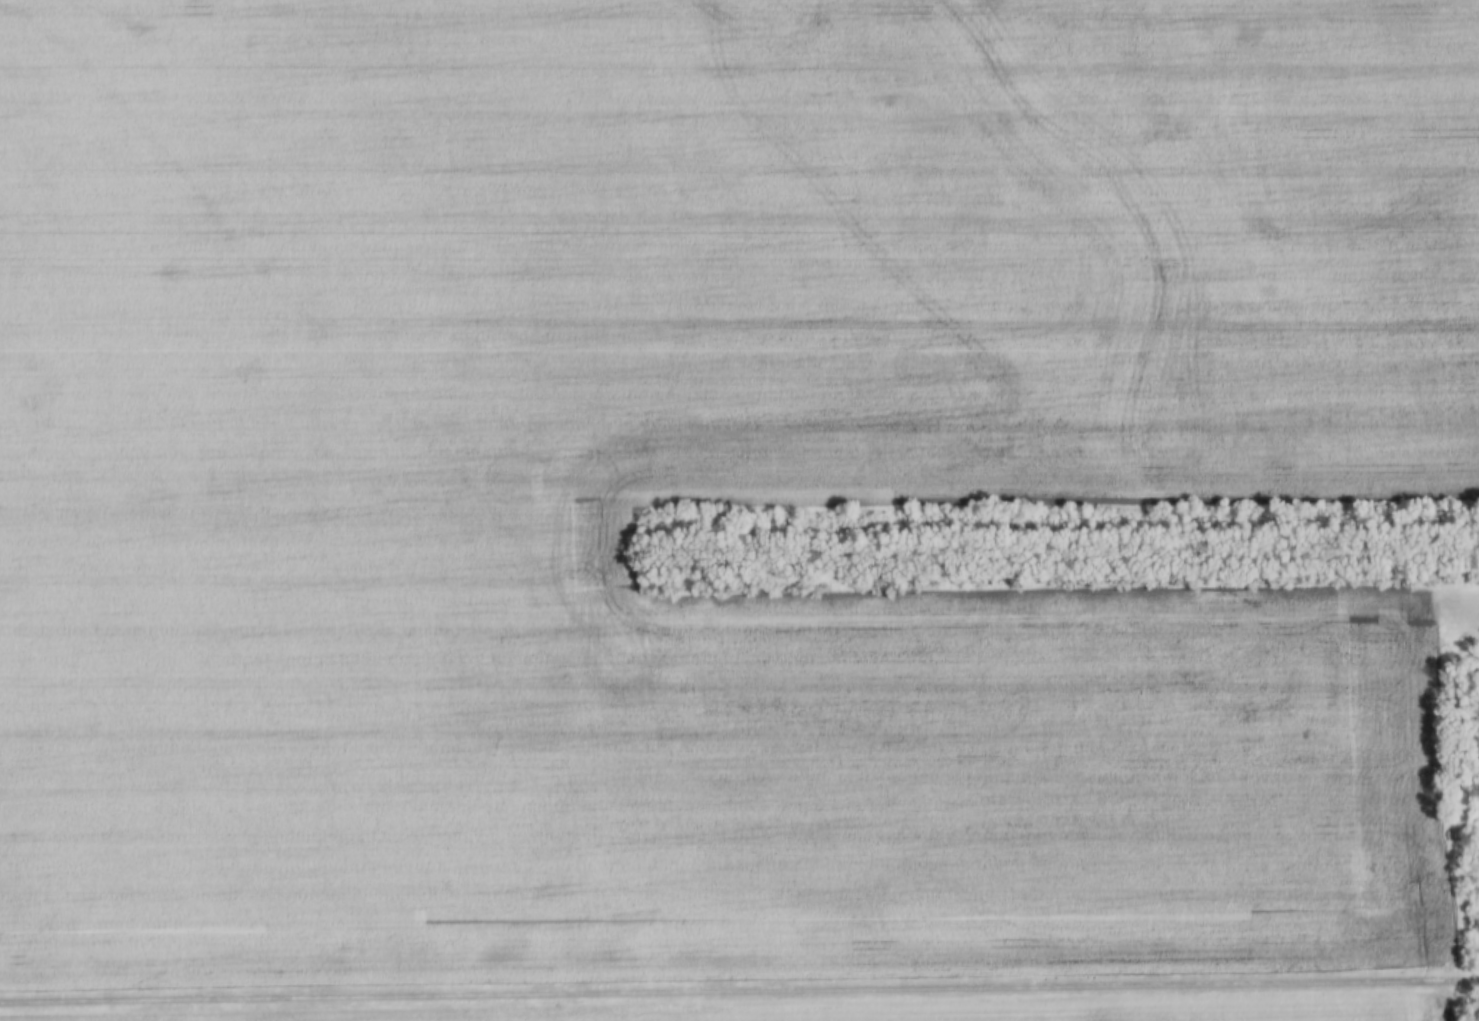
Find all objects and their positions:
road: (739, 995)

